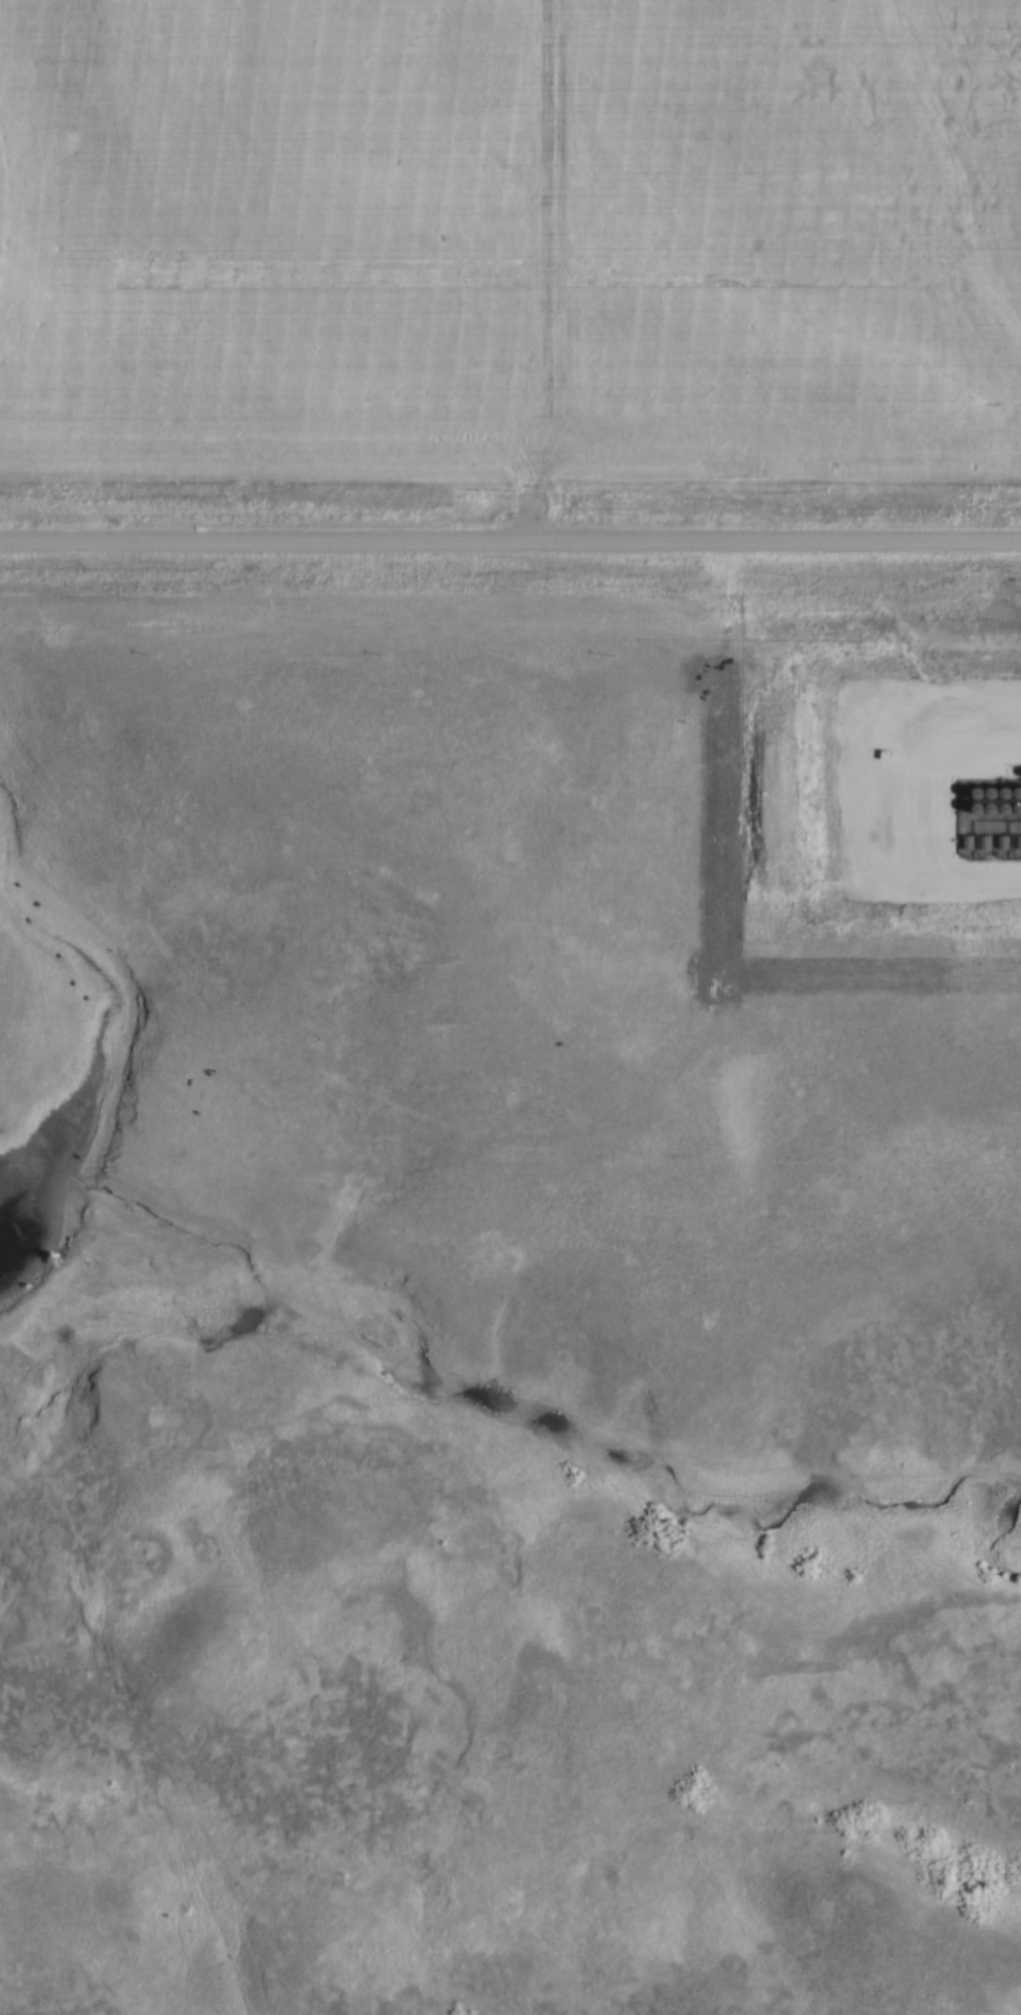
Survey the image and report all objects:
road: (510, 550)
dam: (93, 1158)

